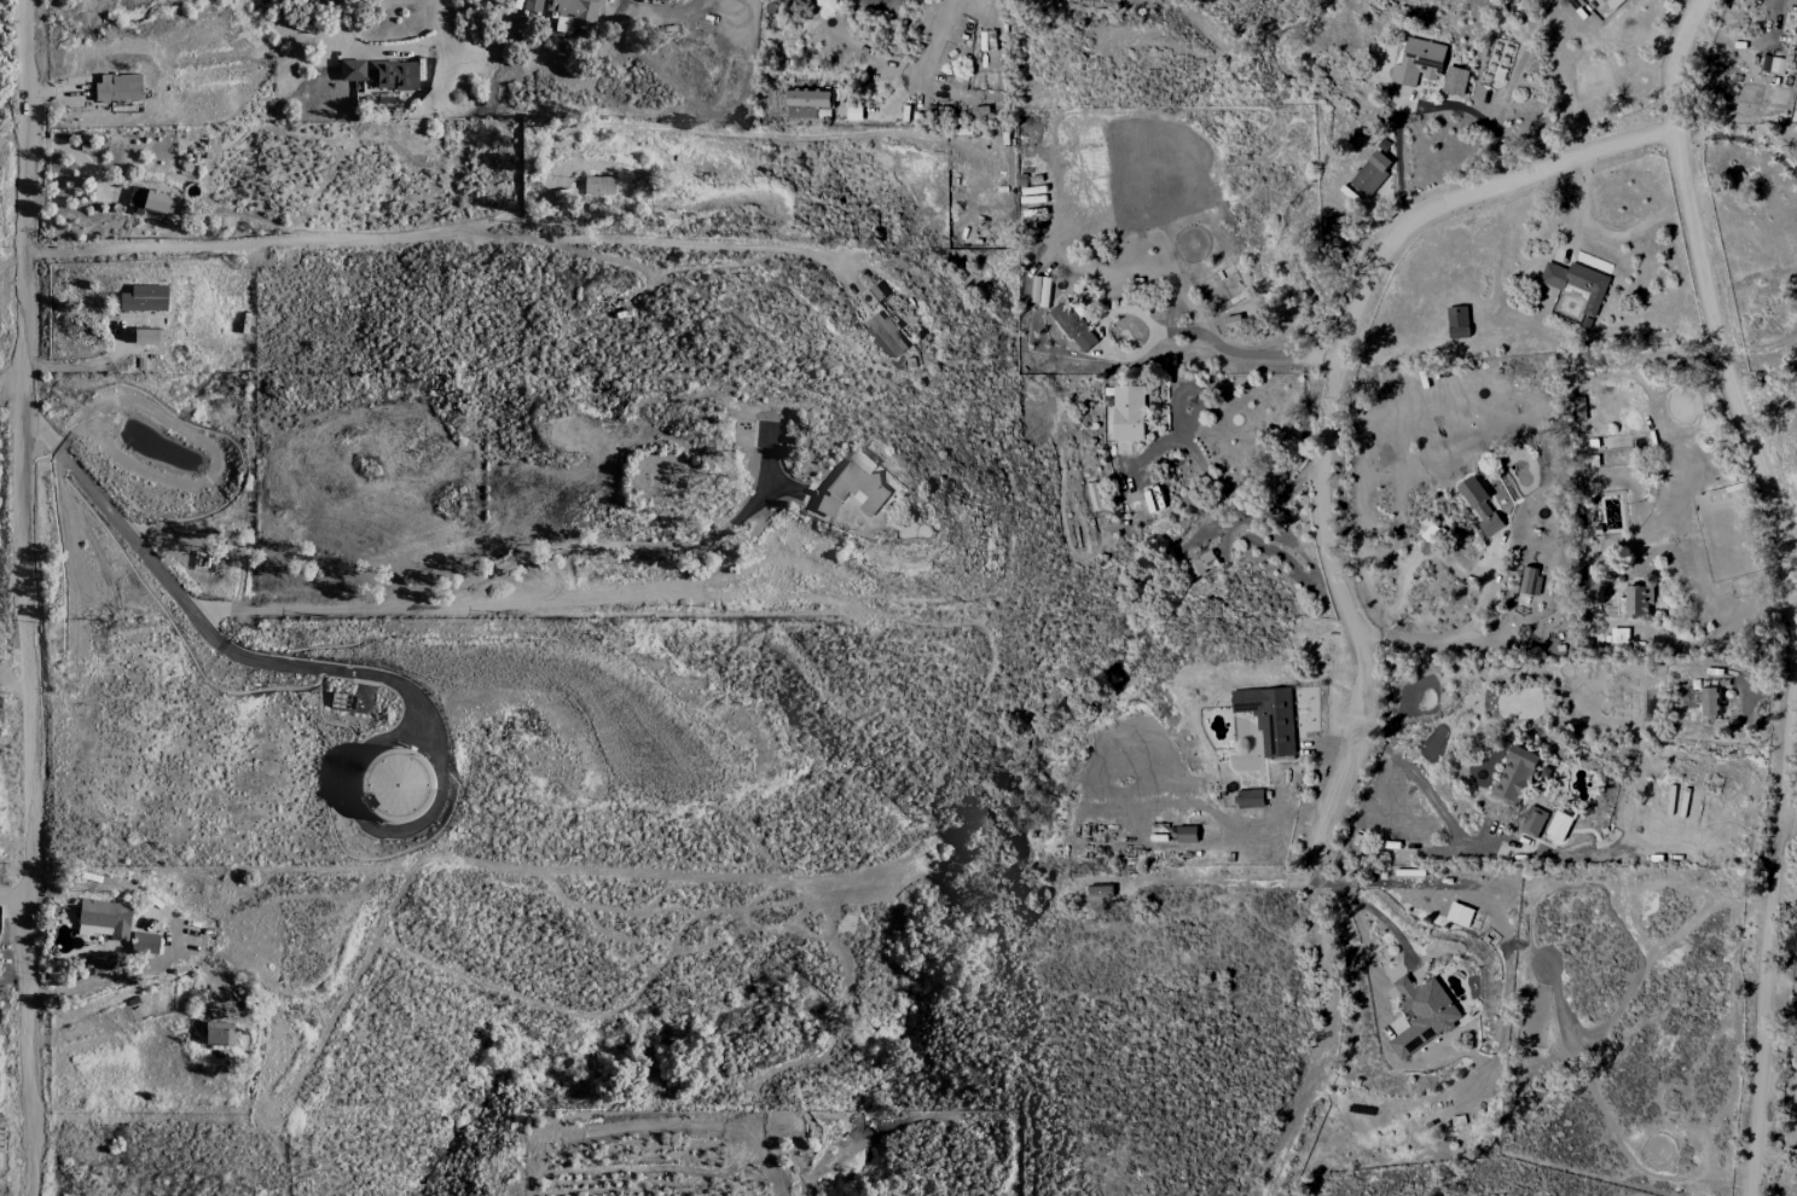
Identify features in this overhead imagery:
building: (1613, 2)
building: (573, 14)
road: (927, 52)
building: (1418, 62)
building: (352, 70)
building: (393, 74)
building: (1456, 80)
building: (117, 87)
building: (810, 103)
road: (1428, 108)
building: (854, 112)
road: (1739, 139)
building: (1372, 173)
building: (598, 185)
building: (150, 201)
road: (421, 234)
building: (1578, 283)
building: (871, 297)
building: (144, 298)
building: (1459, 321)
building: (1073, 325)
building: (149, 336)
building: (887, 336)
road: (1208, 339)
road: (8, 382)
building: (1129, 412)
building: (864, 460)
building: (853, 489)
building: (1480, 505)
road: (1231, 517)
road: (121, 530)
building: (1433, 534)
building: (1202, 562)
road: (1334, 567)
building: (1528, 580)
road: (456, 586)
road: (1790, 587)
road: (4, 588)
building: (1639, 596)
road: (8, 598)
road: (1717, 631)
building: (1619, 634)
road: (1463, 637)
road: (334, 667)
building: (1710, 701)
building: (1269, 716)
building: (1514, 774)
building: (389, 785)
road: (1426, 789)
building: (1251, 797)
building: (1534, 820)
building: (1559, 825)
building: (1187, 834)
building: (1100, 890)
road: (12, 899)
building: (103, 919)
building: (143, 942)
building: (103, 962)
building: (1422, 1012)
building: (215, 1037)
road: (700, 1127)

